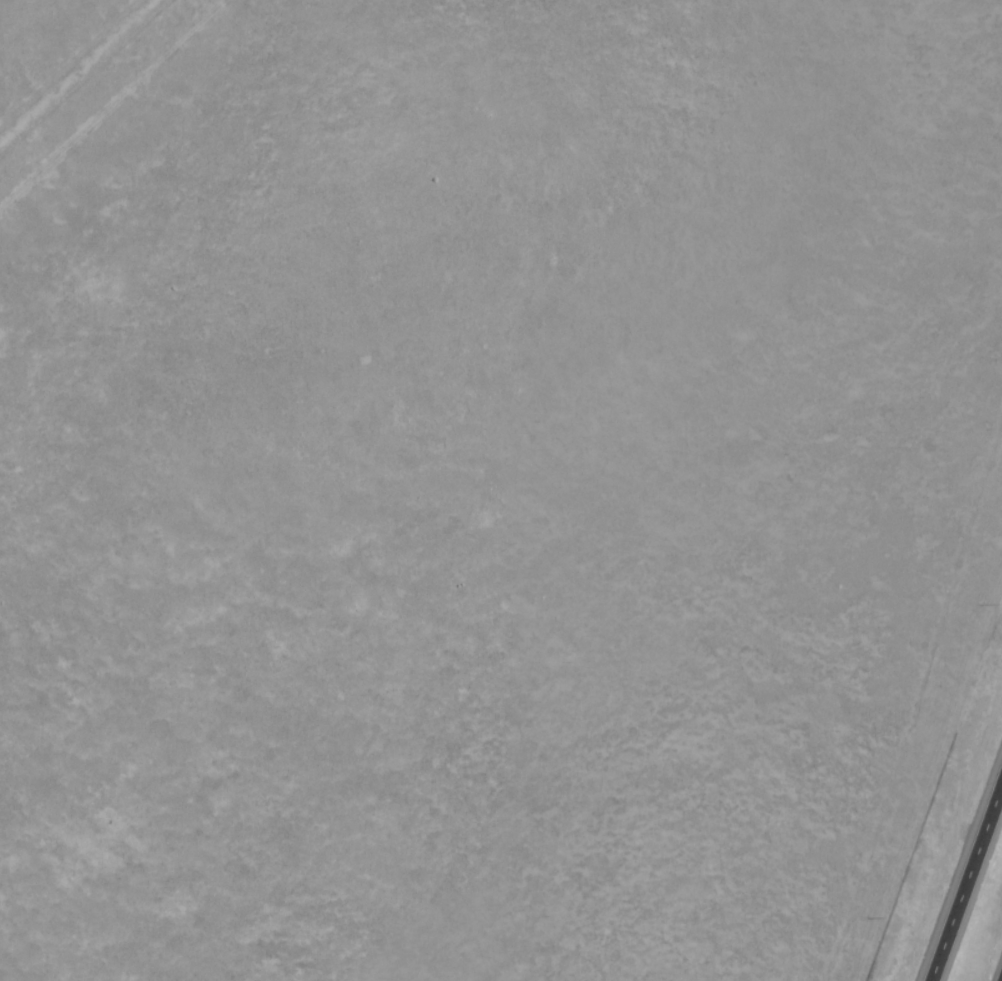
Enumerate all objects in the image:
road: (67, 60)
road: (965, 883)

